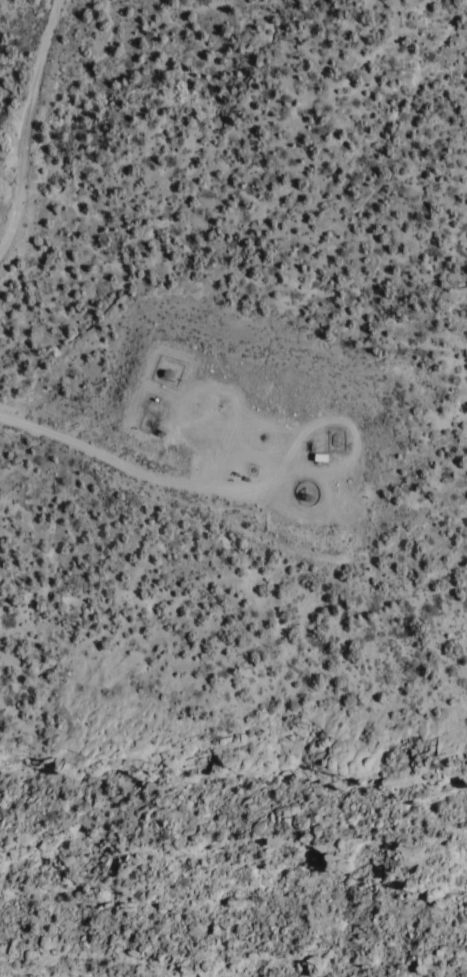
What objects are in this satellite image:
road: (35, 81)

